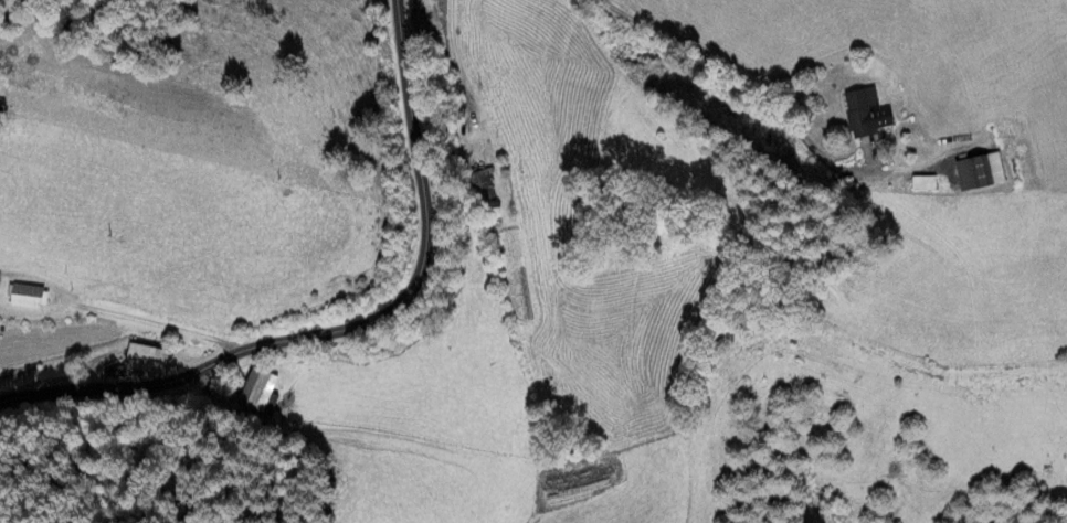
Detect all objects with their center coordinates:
road: (454, 57)
road: (740, 78)
building: (865, 114)
building: (980, 173)
building: (482, 180)
building: (923, 184)
building: (28, 297)
road: (352, 324)
building: (146, 359)
building: (113, 373)
building: (257, 391)

